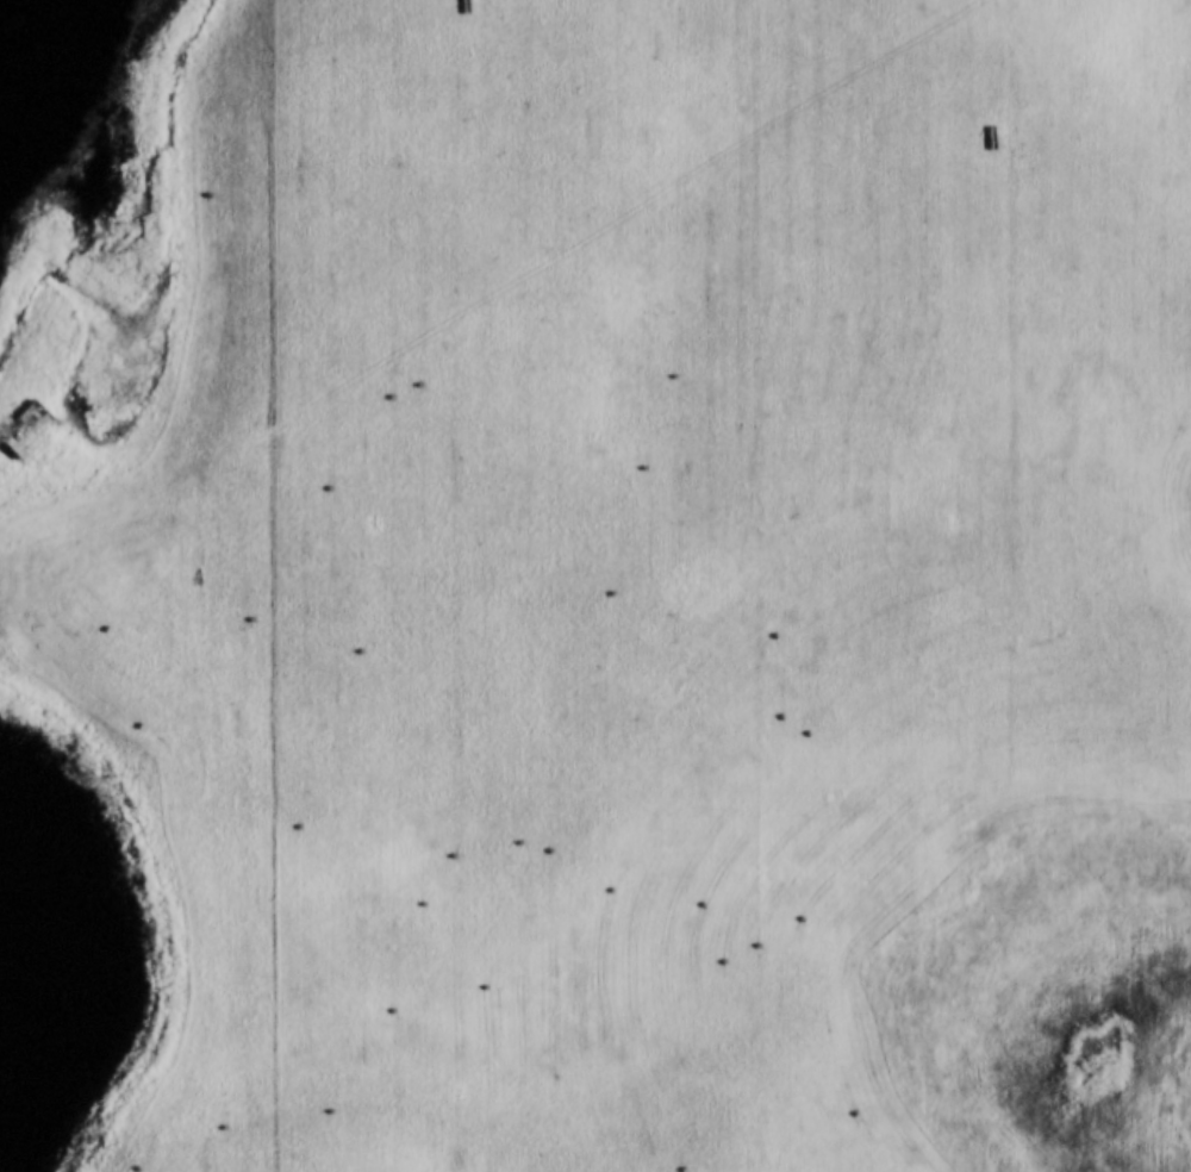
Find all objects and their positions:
building: (23, 431)

